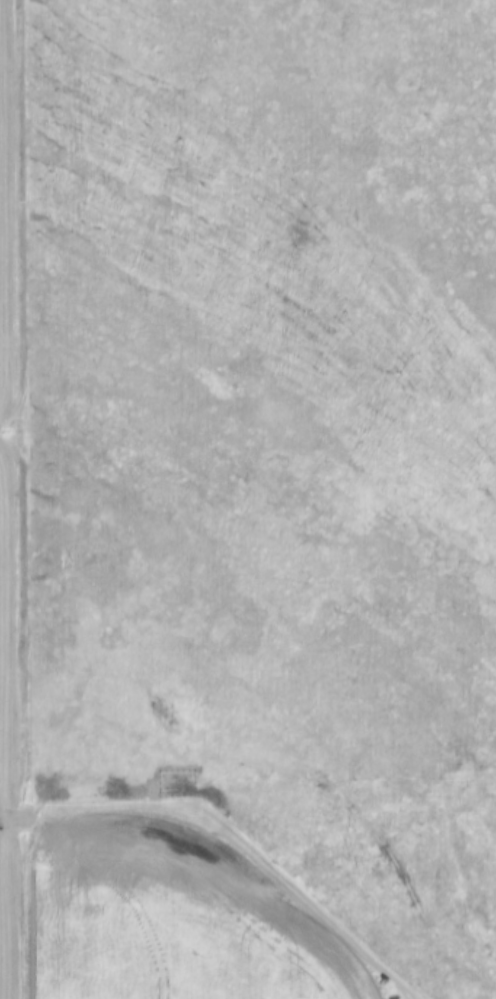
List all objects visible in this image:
road: (234, 838)

